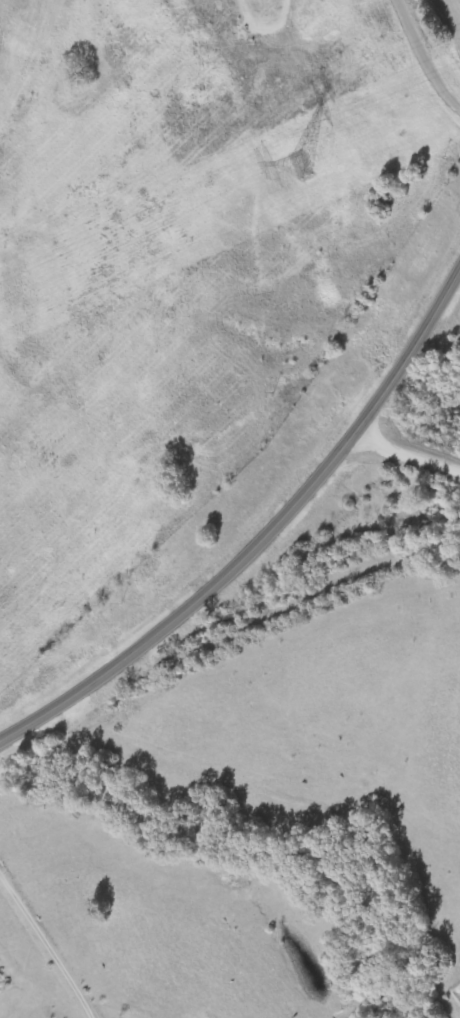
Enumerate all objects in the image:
road: (452, 20)
power tower: (305, 165)
road: (185, 312)
road: (404, 460)
road: (262, 534)

